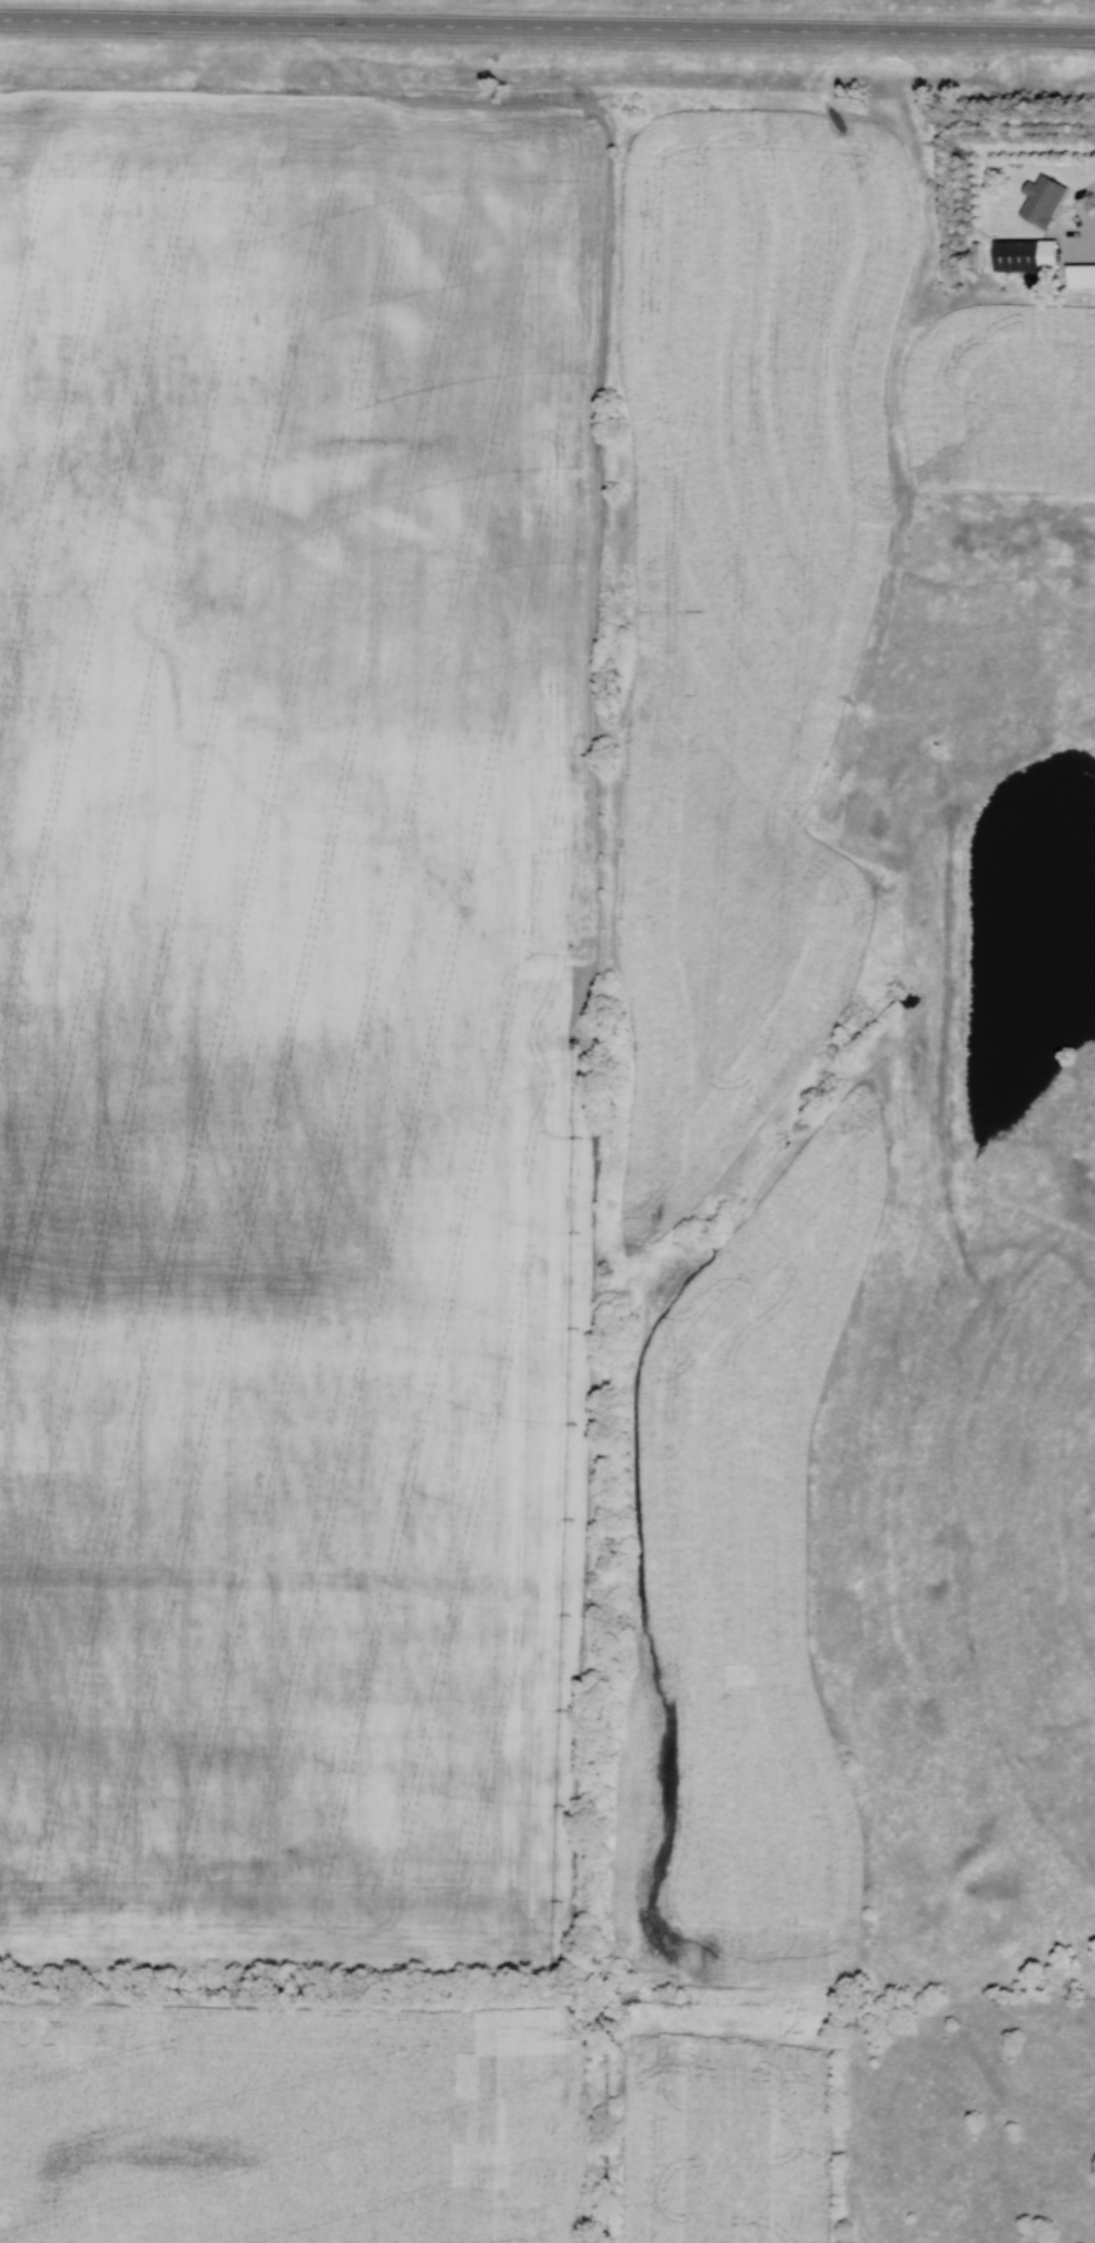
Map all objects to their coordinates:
road: (547, 28)
building: (1045, 198)
building: (1018, 256)

